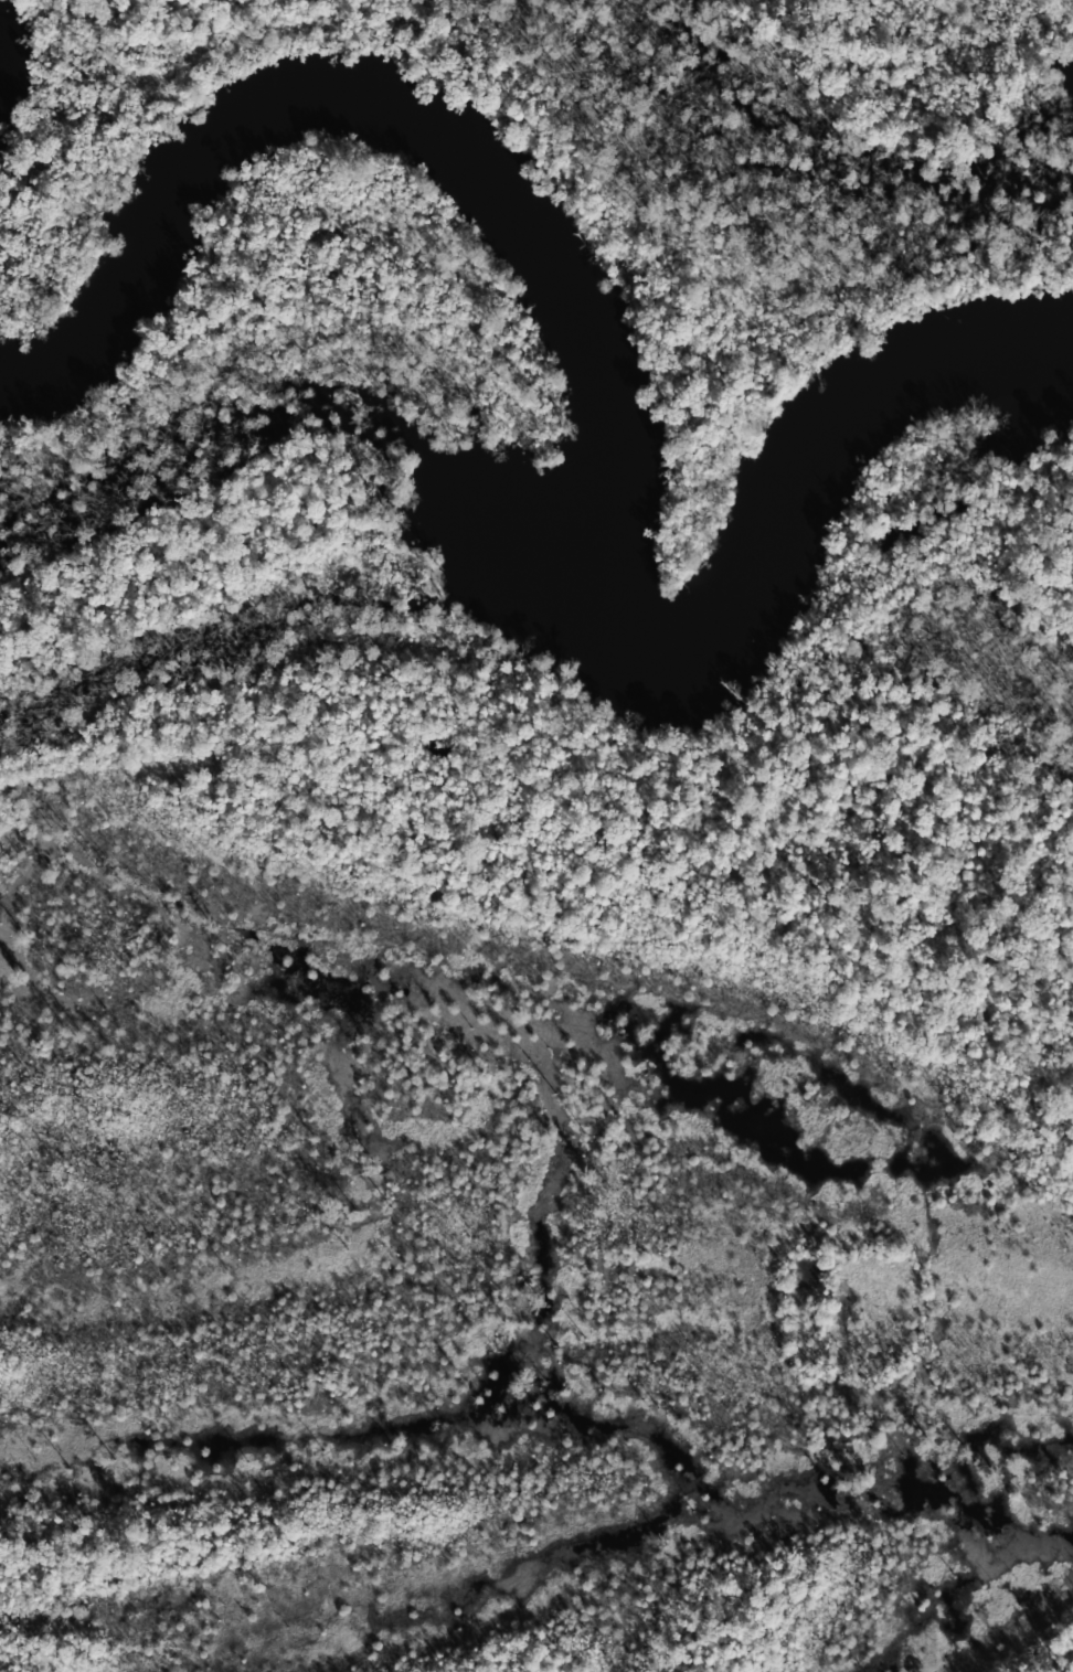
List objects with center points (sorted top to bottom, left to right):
river: (610, 360)

